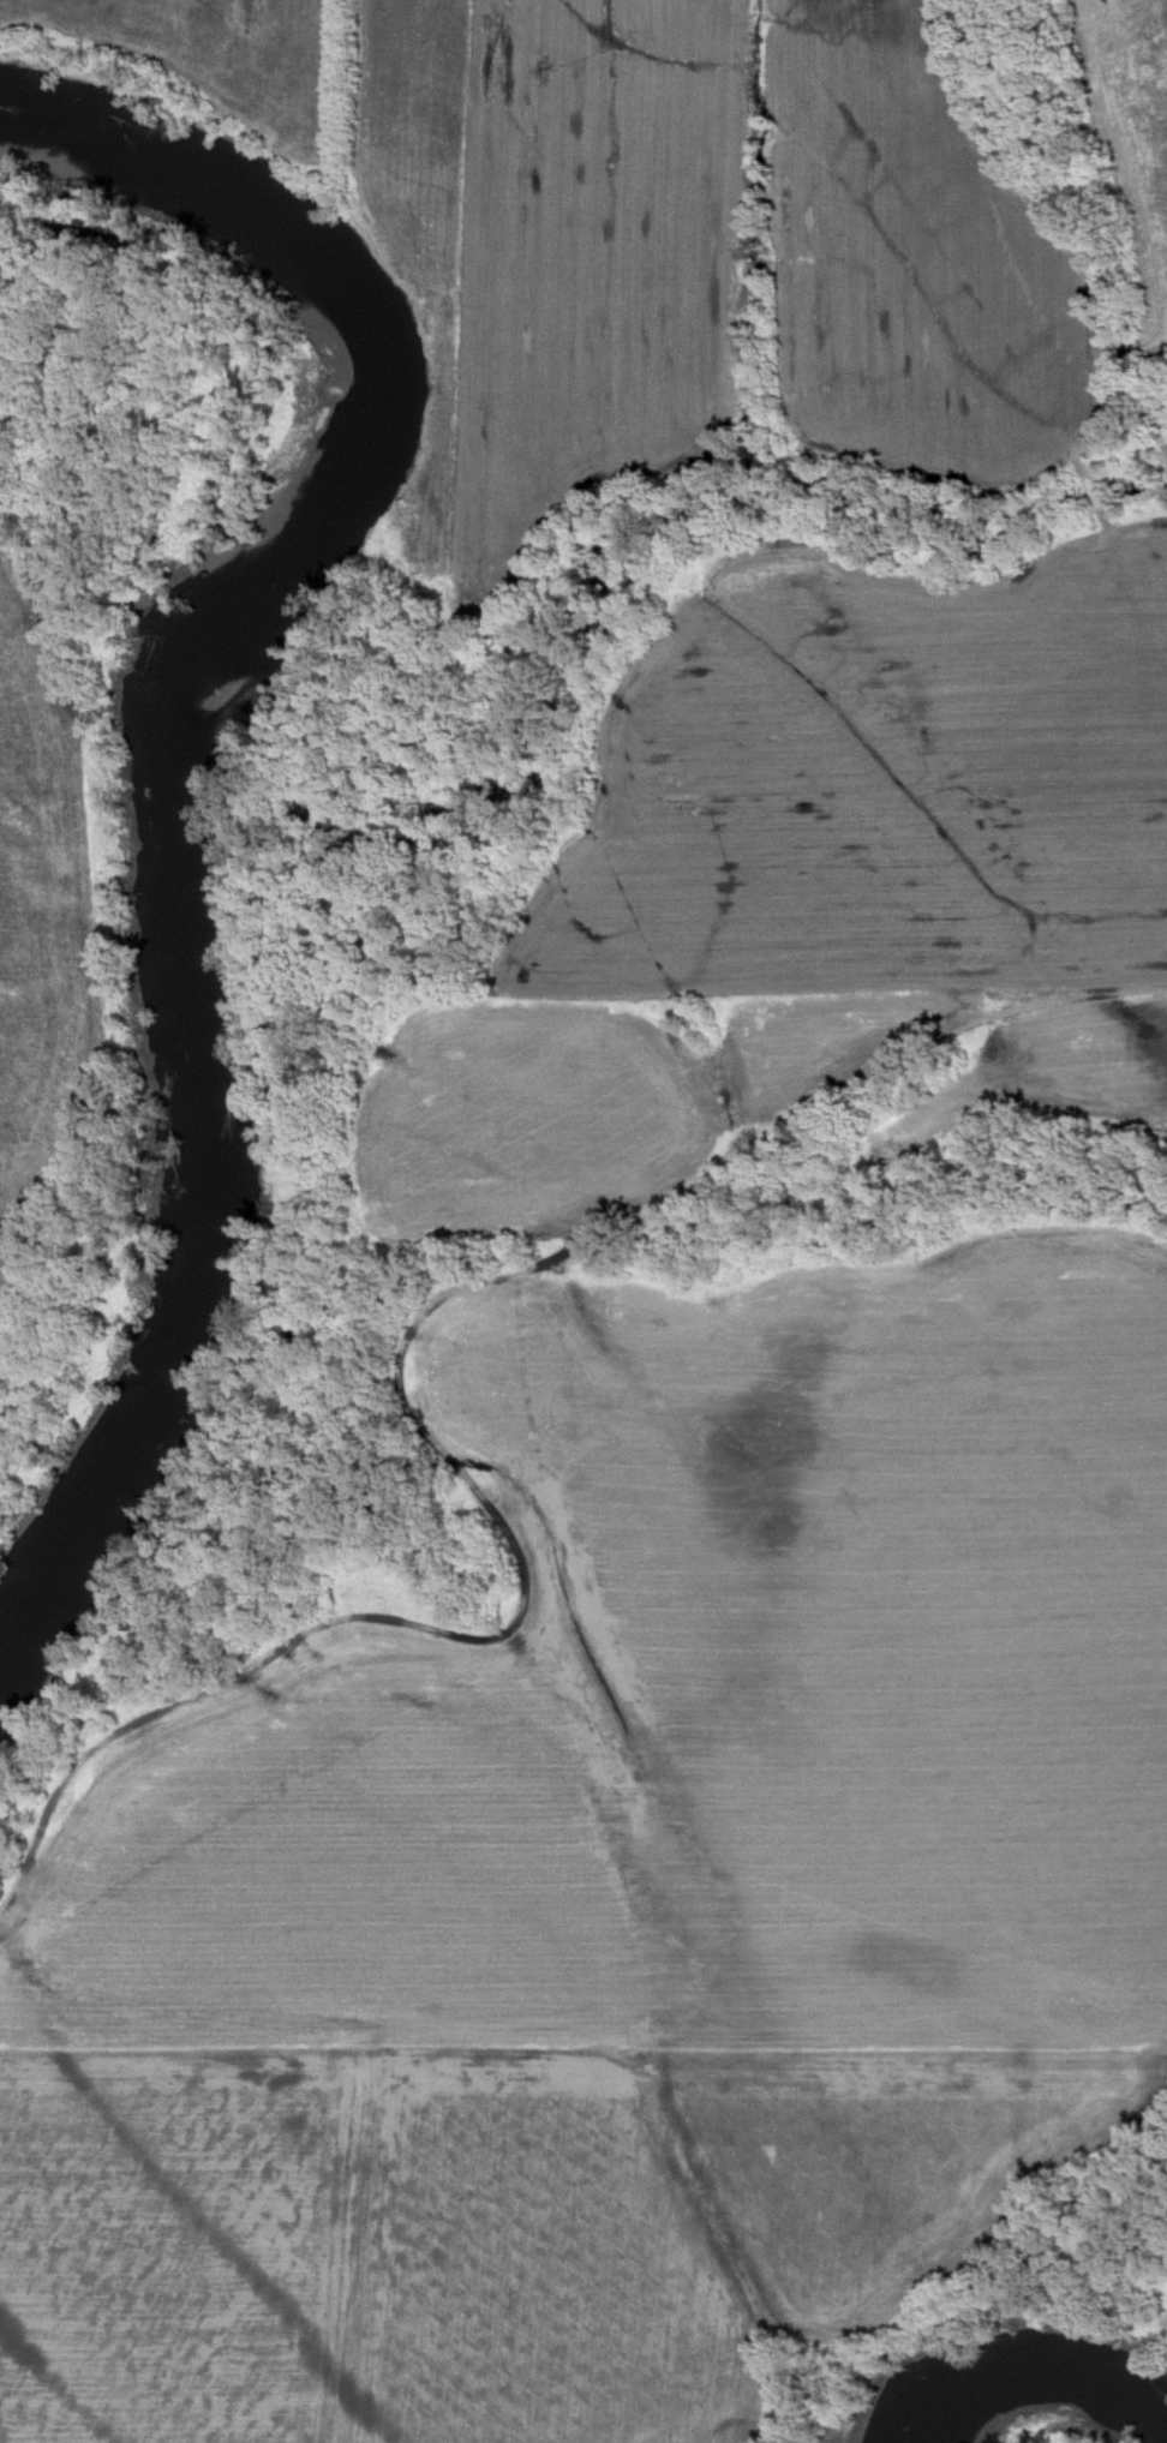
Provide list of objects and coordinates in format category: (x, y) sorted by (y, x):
river: (174, 789)
river: (1006, 2372)

